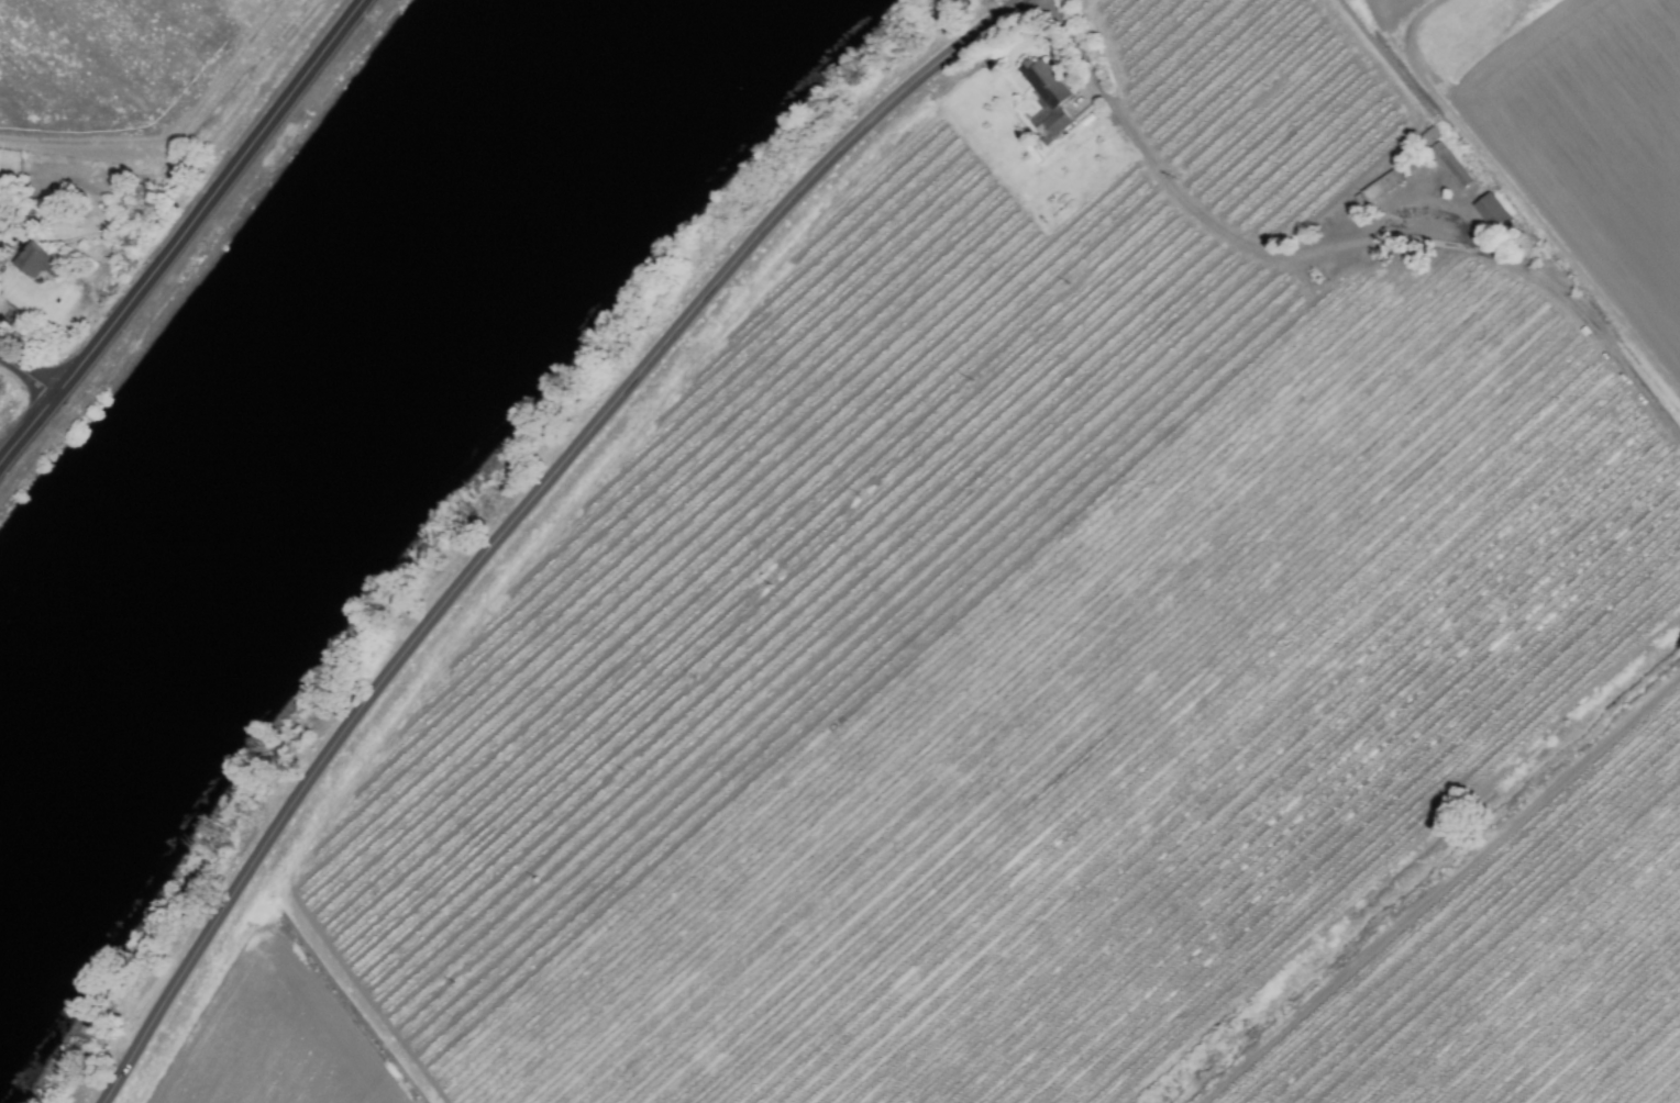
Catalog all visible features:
building: (1043, 85)
crop: (115, 158)
building: (1381, 186)
road: (1181, 203)
building: (1490, 212)
road: (180, 231)
building: (35, 263)
road: (1570, 301)
road: (25, 378)
river: (308, 393)
road: (519, 514)
crop: (1068, 623)

